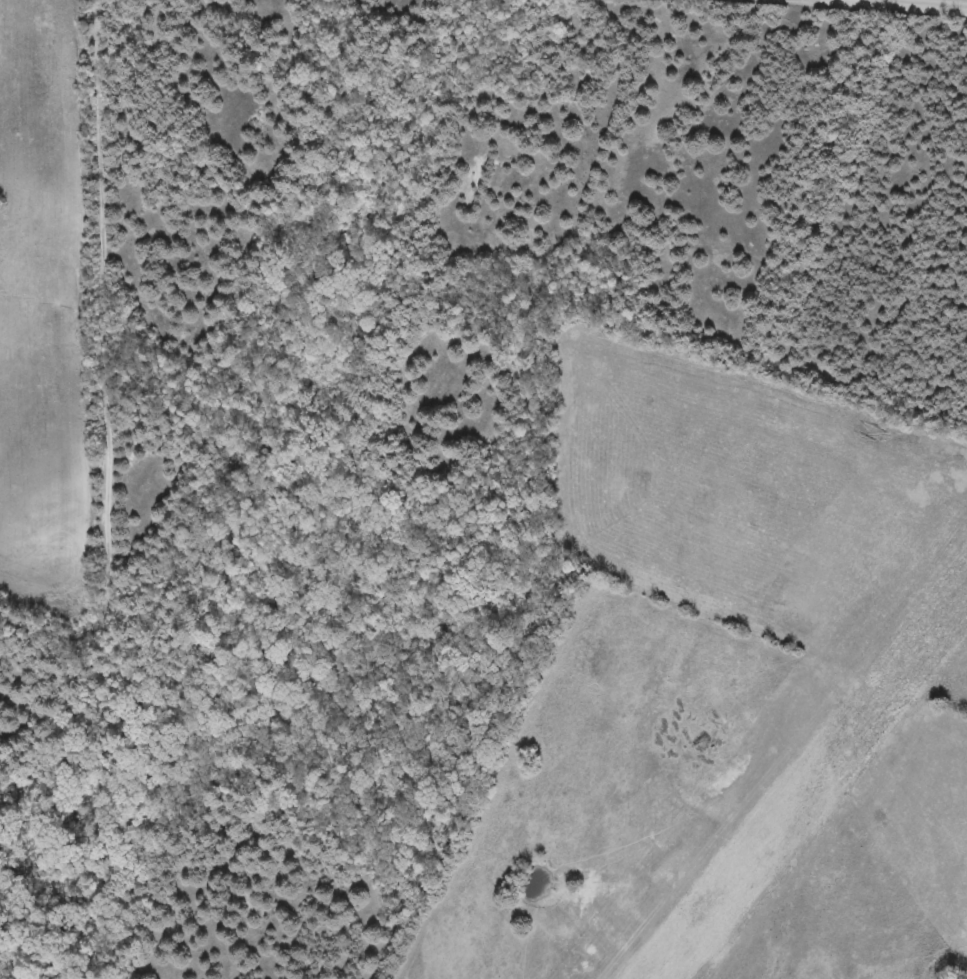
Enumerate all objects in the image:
road: (920, 3)
road: (199, 407)

